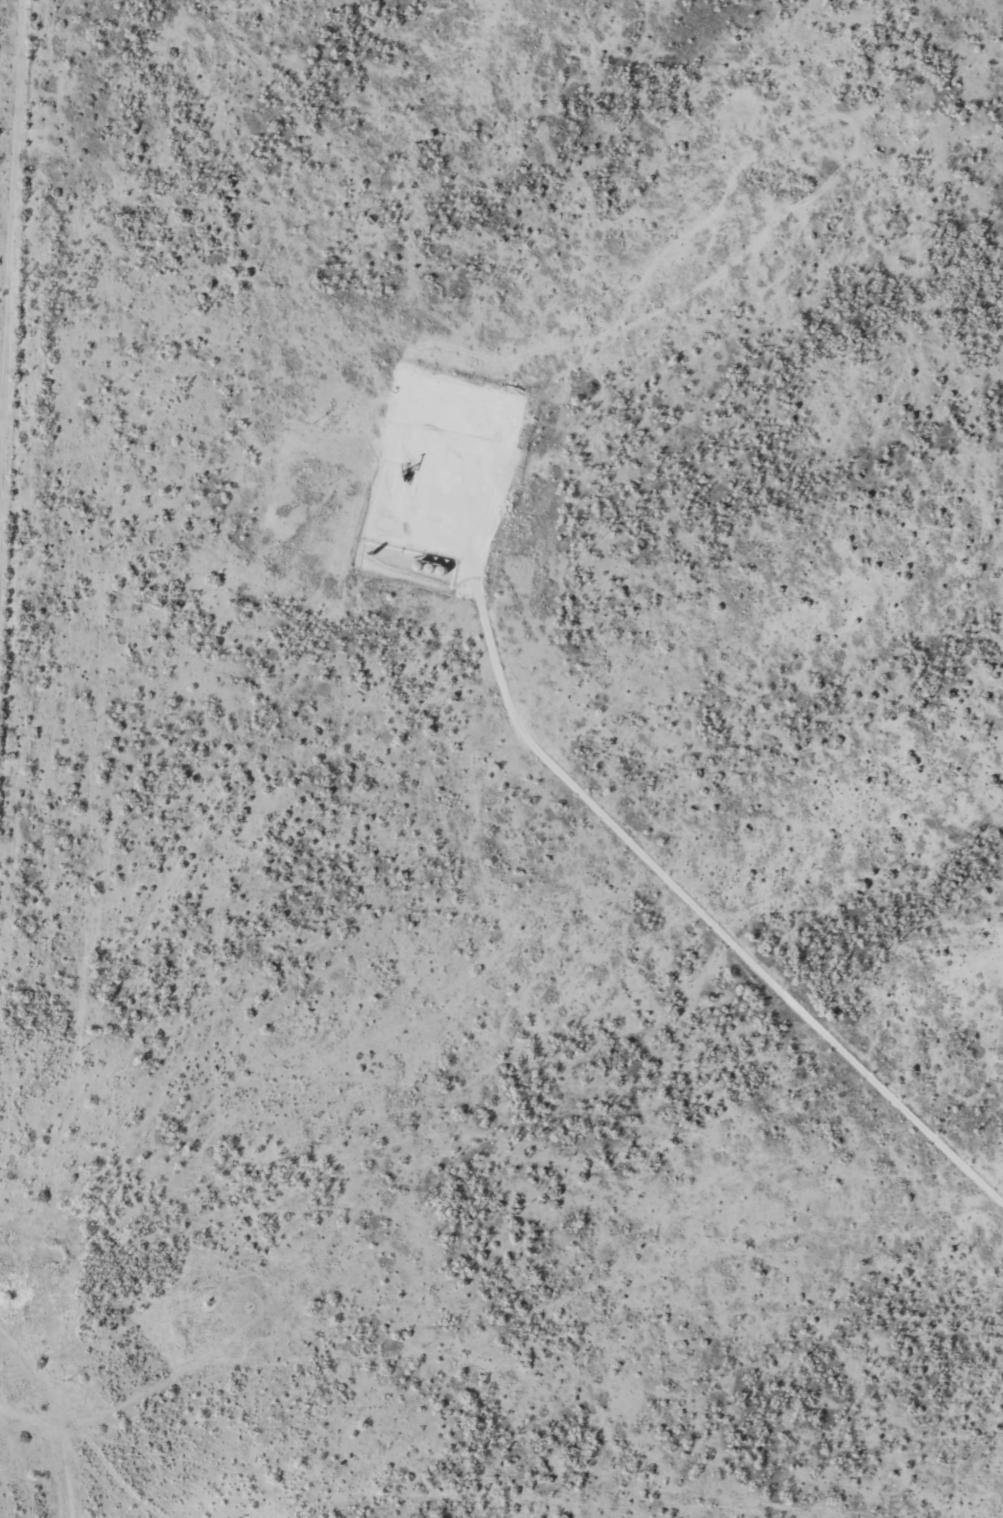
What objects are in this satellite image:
road: (78, 1472)
road: (11, 1482)

